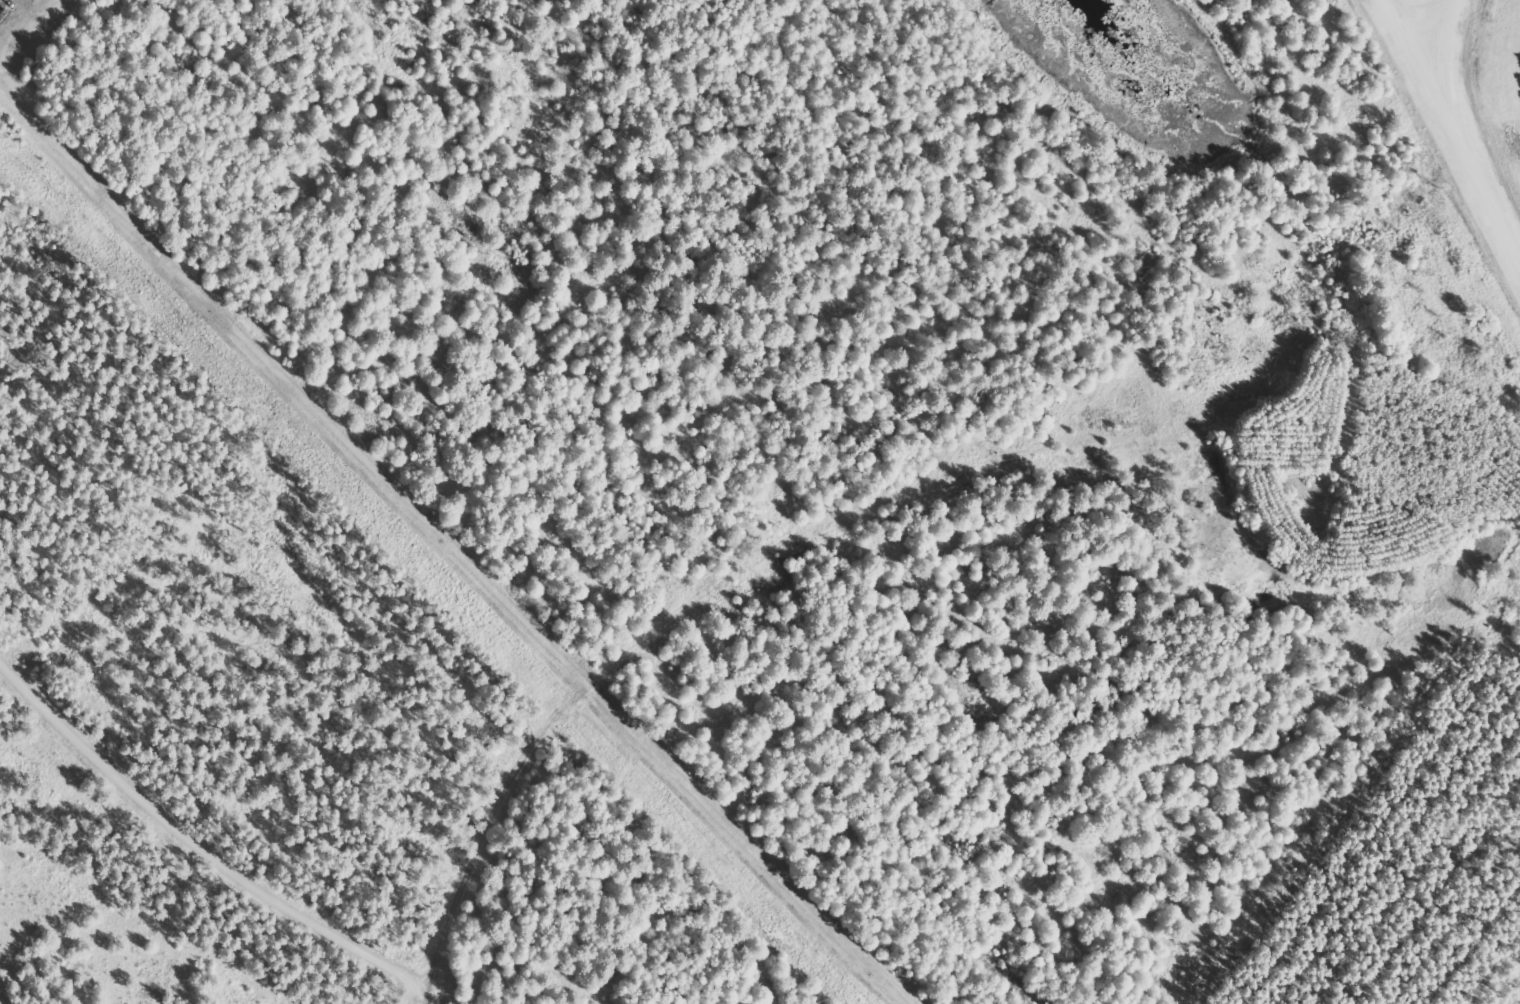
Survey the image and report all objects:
road: (1440, 35)
road: (1453, 124)
road: (202, 851)

